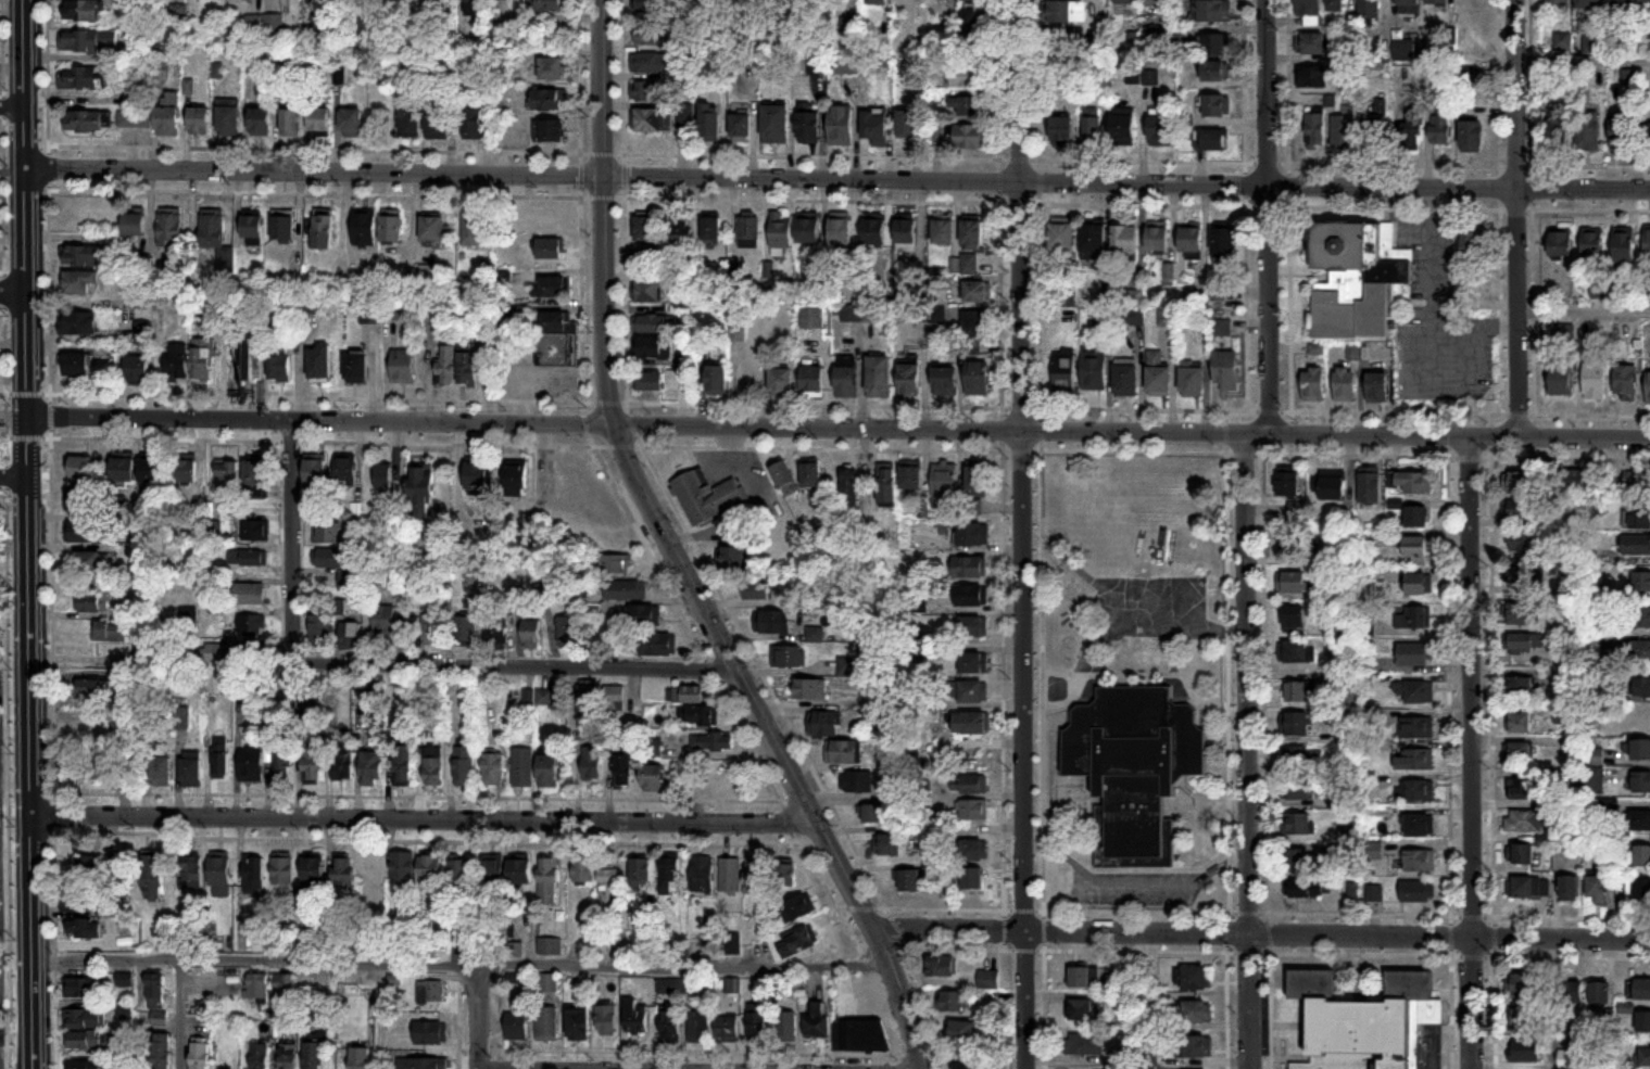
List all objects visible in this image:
building: (841, 0)
building: (977, 0)
building: (1616, 0)
building: (1121, 1)
building: (1154, 1)
building: (1557, 1)
building: (1587, 1)
building: (874, 2)
building: (1436, 2)
building: (1645, 2)
building: (550, 5)
building: (647, 5)
building: (1336, 5)
building: (1307, 7)
building: (1409, 7)
building: (475, 10)
building: (1213, 10)
building: (1369, 10)
building: (81, 11)
building: (1065, 12)
building: (646, 40)
building: (1563, 41)
building: (88, 42)
building: (1310, 43)
building: (1060, 44)
building: (1214, 46)
building: (1403, 50)
road: (1582, 56)
building: (653, 63)
building: (551, 69)
building: (1216, 73)
building: (968, 77)
building: (1313, 77)
building: (80, 78)
building: (648, 91)
building: (546, 101)
road: (11, 106)
building: (1217, 107)
building: (972, 109)
building: (167, 117)
building: (134, 119)
building: (227, 120)
building: (318, 122)
building: (646, 122)
building: (773, 122)
building: (85, 123)
building: (199, 123)
building: (259, 124)
building: (290, 124)
building: (410, 124)
building: (351, 125)
building: (471, 125)
building: (708, 125)
building: (436, 126)
building: (906, 126)
building: (739, 127)
building: (840, 127)
building: (546, 128)
building: (874, 128)
building: (1122, 128)
building: (808, 129)
building: (1160, 130)
building: (1315, 130)
building: (1440, 130)
building: (1093, 131)
building: (1412, 131)
building: (1587, 131)
building: (1062, 132)
building: (1343, 132)
building: (1622, 133)
building: (1560, 137)
building: (970, 138)
building: (1471, 138)
building: (1647, 138)
building: (1211, 141)
road: (1349, 162)
road: (1574, 165)
road: (836, 178)
road: (1265, 216)
road: (1514, 218)
building: (134, 226)
building: (645, 226)
building: (169, 227)
building: (282, 227)
building: (363, 228)
building: (390, 228)
building: (431, 228)
building: (680, 228)
building: (709, 228)
building: (253, 229)
building: (471, 229)
building: (779, 229)
building: (807, 229)
building: (322, 230)
building: (839, 230)
building: (872, 230)
building: (941, 230)
building: (747, 231)
building: (970, 231)
building: (905, 236)
building: (216, 238)
building: (1093, 239)
building: (1124, 239)
building: (1157, 239)
building: (1189, 239)
building: (1646, 239)
building: (1062, 240)
building: (1223, 240)
building: (1560, 242)
building: (1592, 244)
building: (1474, 245)
building: (549, 246)
building: (1624, 246)
building: (84, 255)
building: (963, 264)
building: (1357, 277)
building: (79, 281)
building: (547, 285)
building: (646, 290)
building: (977, 291)
road: (13, 292)
road: (1432, 295)
road: (1532, 309)
road: (1583, 309)
building: (391, 310)
building: (852, 313)
building: (811, 317)
building: (1167, 318)
building: (975, 320)
building: (77, 321)
building: (652, 322)
building: (142, 331)
building: (554, 340)
building: (653, 346)
building: (175, 360)
building: (75, 361)
building: (319, 361)
building: (279, 362)
building: (202, 364)
building: (445, 365)
building: (355, 366)
building: (402, 366)
building: (137, 367)
building: (467, 368)
building: (1225, 370)
building: (1063, 372)
building: (1156, 372)
building: (1093, 373)
building: (845, 376)
building: (878, 376)
building: (811, 378)
building: (908, 378)
building: (977, 378)
building: (716, 379)
building: (1124, 379)
building: (1560, 379)
building: (1592, 379)
building: (1625, 379)
building: (648, 380)
building: (780, 380)
building: (944, 380)
building: (1189, 380)
building: (1311, 383)
building: (1344, 383)
building: (1375, 385)
building: (1648, 386)
road: (1388, 410)
road: (840, 427)
road: (949, 449)
building: (80, 466)
building: (123, 466)
building: (151, 469)
building: (184, 469)
building: (314, 471)
building: (345, 471)
building: (810, 473)
building: (227, 474)
building: (254, 474)
building: (477, 474)
building: (910, 475)
building: (382, 476)
building: (1637, 476)
building: (784, 478)
road: (15, 479)
building: (1575, 479)
building: (515, 480)
building: (943, 480)
building: (975, 481)
building: (1519, 481)
building: (885, 482)
building: (1413, 482)
building: (1287, 483)
building: (848, 485)
building: (1333, 487)
building: (1370, 487)
building: (421, 489)
building: (706, 496)
building: (80, 498)
building: (1521, 507)
building: (1415, 516)
building: (1636, 517)
building: (255, 530)
building: (79, 531)
building: (327, 531)
building: (973, 533)
road: (30, 534)
road: (1020, 534)
building: (470, 540)
building: (1523, 543)
building: (1636, 544)
building: (1415, 549)
road: (678, 555)
building: (248, 557)
building: (330, 557)
building: (733, 557)
building: (90, 561)
building: (614, 564)
building: (969, 565)
building: (1522, 573)
building: (1641, 581)
building: (1293, 582)
building: (1416, 583)
building: (625, 590)
building: (755, 590)
building: (249, 593)
building: (970, 594)
building: (95, 599)
building: (1520, 613)
building: (644, 616)
building: (1641, 616)
building: (1413, 618)
building: (188, 620)
building: (385, 621)
building: (772, 621)
building: (1294, 622)
building: (252, 624)
building: (970, 625)
building: (320, 629)
building: (432, 629)
building: (466, 631)
building: (110, 632)
building: (568, 632)
building: (495, 634)
building: (350, 635)
building: (815, 635)
building: (532, 639)
building: (1527, 641)
building: (657, 645)
building: (1642, 650)
building: (1294, 651)
building: (213, 653)
building: (1414, 654)
building: (789, 657)
building: (972, 661)
road: (401, 664)
building: (847, 666)
building: (1641, 685)
building: (242, 686)
building: (1519, 686)
building: (93, 688)
building: (810, 689)
building: (972, 691)
building: (1300, 692)
building: (1416, 692)
building: (692, 695)
building: (313, 698)
building: (538, 698)
building: (614, 699)
building: (588, 700)
building: (1562, 713)
building: (700, 716)
building: (972, 722)
building: (823, 723)
building: (1517, 723)
building: (1638, 723)
building: (1295, 724)
building: (1414, 725)
building: (713, 742)
building: (1640, 749)
road: (1246, 750)
road: (1471, 751)
building: (843, 752)
building: (1517, 752)
building: (111, 756)
building: (281, 758)
building: (1414, 758)
building: (343, 761)
building: (219, 763)
building: (250, 763)
building: (591, 763)
building: (312, 765)
building: (403, 765)
building: (432, 766)
building: (464, 766)
building: (371, 767)
building: (522, 767)
building: (1133, 767)
building: (493, 768)
building: (624, 769)
building: (547, 771)
building: (1301, 771)
building: (160, 772)
building: (190, 772)
building: (718, 776)
building: (653, 778)
building: (1641, 781)
building: (856, 782)
building: (973, 784)
building: (1525, 789)
building: (1415, 790)
building: (974, 809)
building: (873, 814)
park: (4, 816)
building: (1640, 819)
road: (429, 822)
building: (1524, 822)
building: (1297, 823)
building: (1419, 825)
building: (892, 844)
building: (974, 849)
building: (1522, 854)
building: (1642, 855)
building: (1419, 858)
building: (1305, 860)
building: (113, 865)
building: (402, 866)
building: (429, 867)
building: (584, 869)
building: (640, 870)
building: (191, 871)
building: (282, 871)
building: (492, 871)
building: (519, 871)
building: (343, 874)
building: (375, 874)
building: (219, 875)
building: (704, 875)
building: (784, 875)
building: (253, 876)
building: (312, 876)
building: (151, 877)
building: (731, 877)
building: (973, 877)
building: (669, 878)
building: (461, 879)
building: (549, 879)
building: (756, 880)
building: (911, 880)
road: (1132, 883)
building: (84, 886)
building: (1527, 886)
building: (609, 887)
building: (1570, 888)
building: (1639, 888)
building: (1309, 889)
building: (1414, 889)
building: (1597, 889)
building: (1374, 893)
building: (801, 907)
road: (1491, 915)
building: (83, 928)
road: (1263, 936)
building: (282, 939)
building: (617, 939)
building: (166, 942)
building: (732, 944)
building: (797, 944)
building: (550, 946)
building: (516, 950)
road: (463, 964)
building: (941, 966)
building: (1080, 977)
building: (1196, 977)
building: (124, 980)
building: (988, 980)
building: (549, 981)
building: (1520, 983)
building: (257, 985)
building: (673, 985)
building: (80, 988)
building: (154, 988)
building: (285, 989)
building: (1642, 990)
building: (430, 991)
building: (1572, 991)
building: (1598, 993)
building: (954, 1001)
building: (1082, 1009)
building: (1196, 1010)
building: (124, 1011)
road: (180, 1014)
building: (635, 1016)
road: (480, 1017)
building: (85, 1018)
building: (1522, 1018)
building: (159, 1019)
building: (605, 1019)
building: (818, 1020)
building: (1643, 1021)
building: (546, 1022)
building: (578, 1023)
building: (1371, 1023)
building: (670, 1025)
building: (757, 1025)
building: (516, 1026)
building: (700, 1027)
building: (789, 1027)
building: (727, 1028)
building: (962, 1031)
building: (431, 1033)
building: (865, 1034)
building: (88, 1040)
building: (1084, 1044)
building: (1198, 1045)
building: (161, 1051)
building: (199, 1055)
building: (313, 1055)
building: (259, 1056)
building: (288, 1056)
building: (1645, 1056)
building: (360, 1057)
building: (965, 1060)
building: (84, 1064)
building: (419, 1064)

